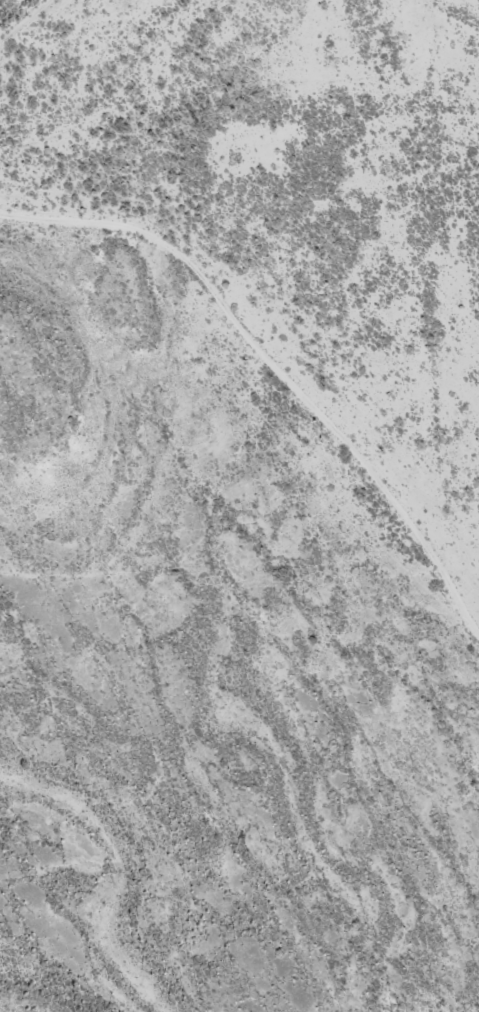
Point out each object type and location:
road: (35, 25)
road: (455, 269)
road: (266, 308)

